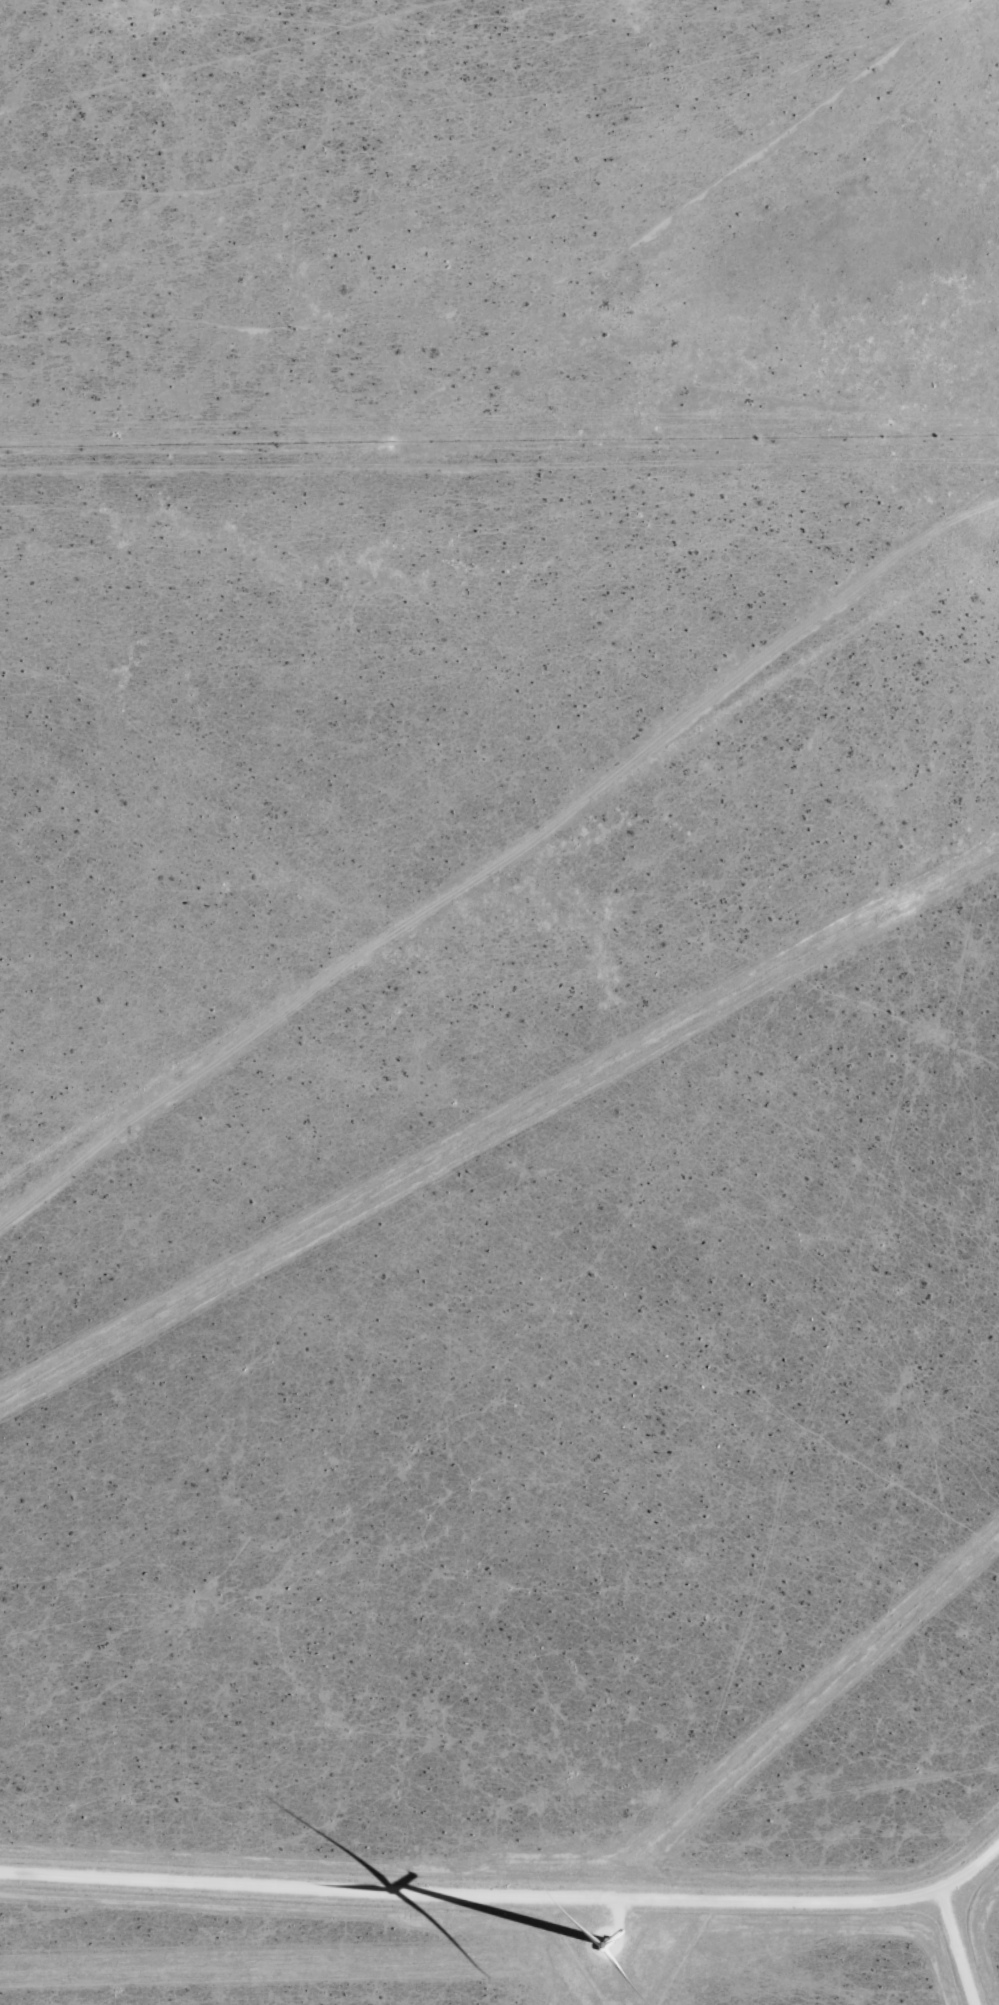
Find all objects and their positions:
wind turbine: (603, 1944)

